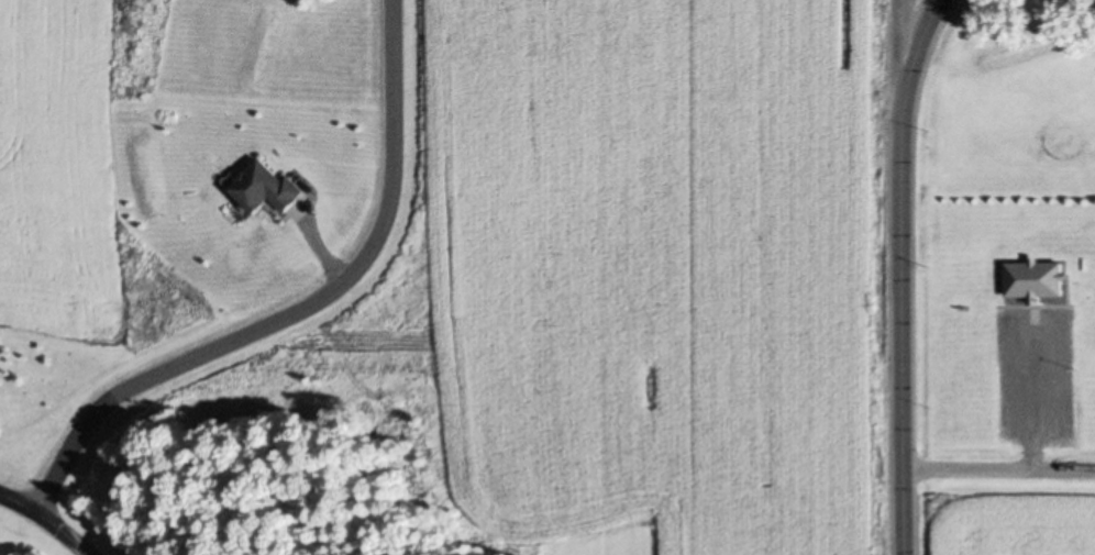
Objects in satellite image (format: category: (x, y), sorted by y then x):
road: (902, 54)
building: (267, 187)
road: (904, 274)
building: (1038, 276)
road: (308, 308)
parking lot: (1040, 374)
road: (1037, 390)
road: (1000, 467)
road: (51, 512)

